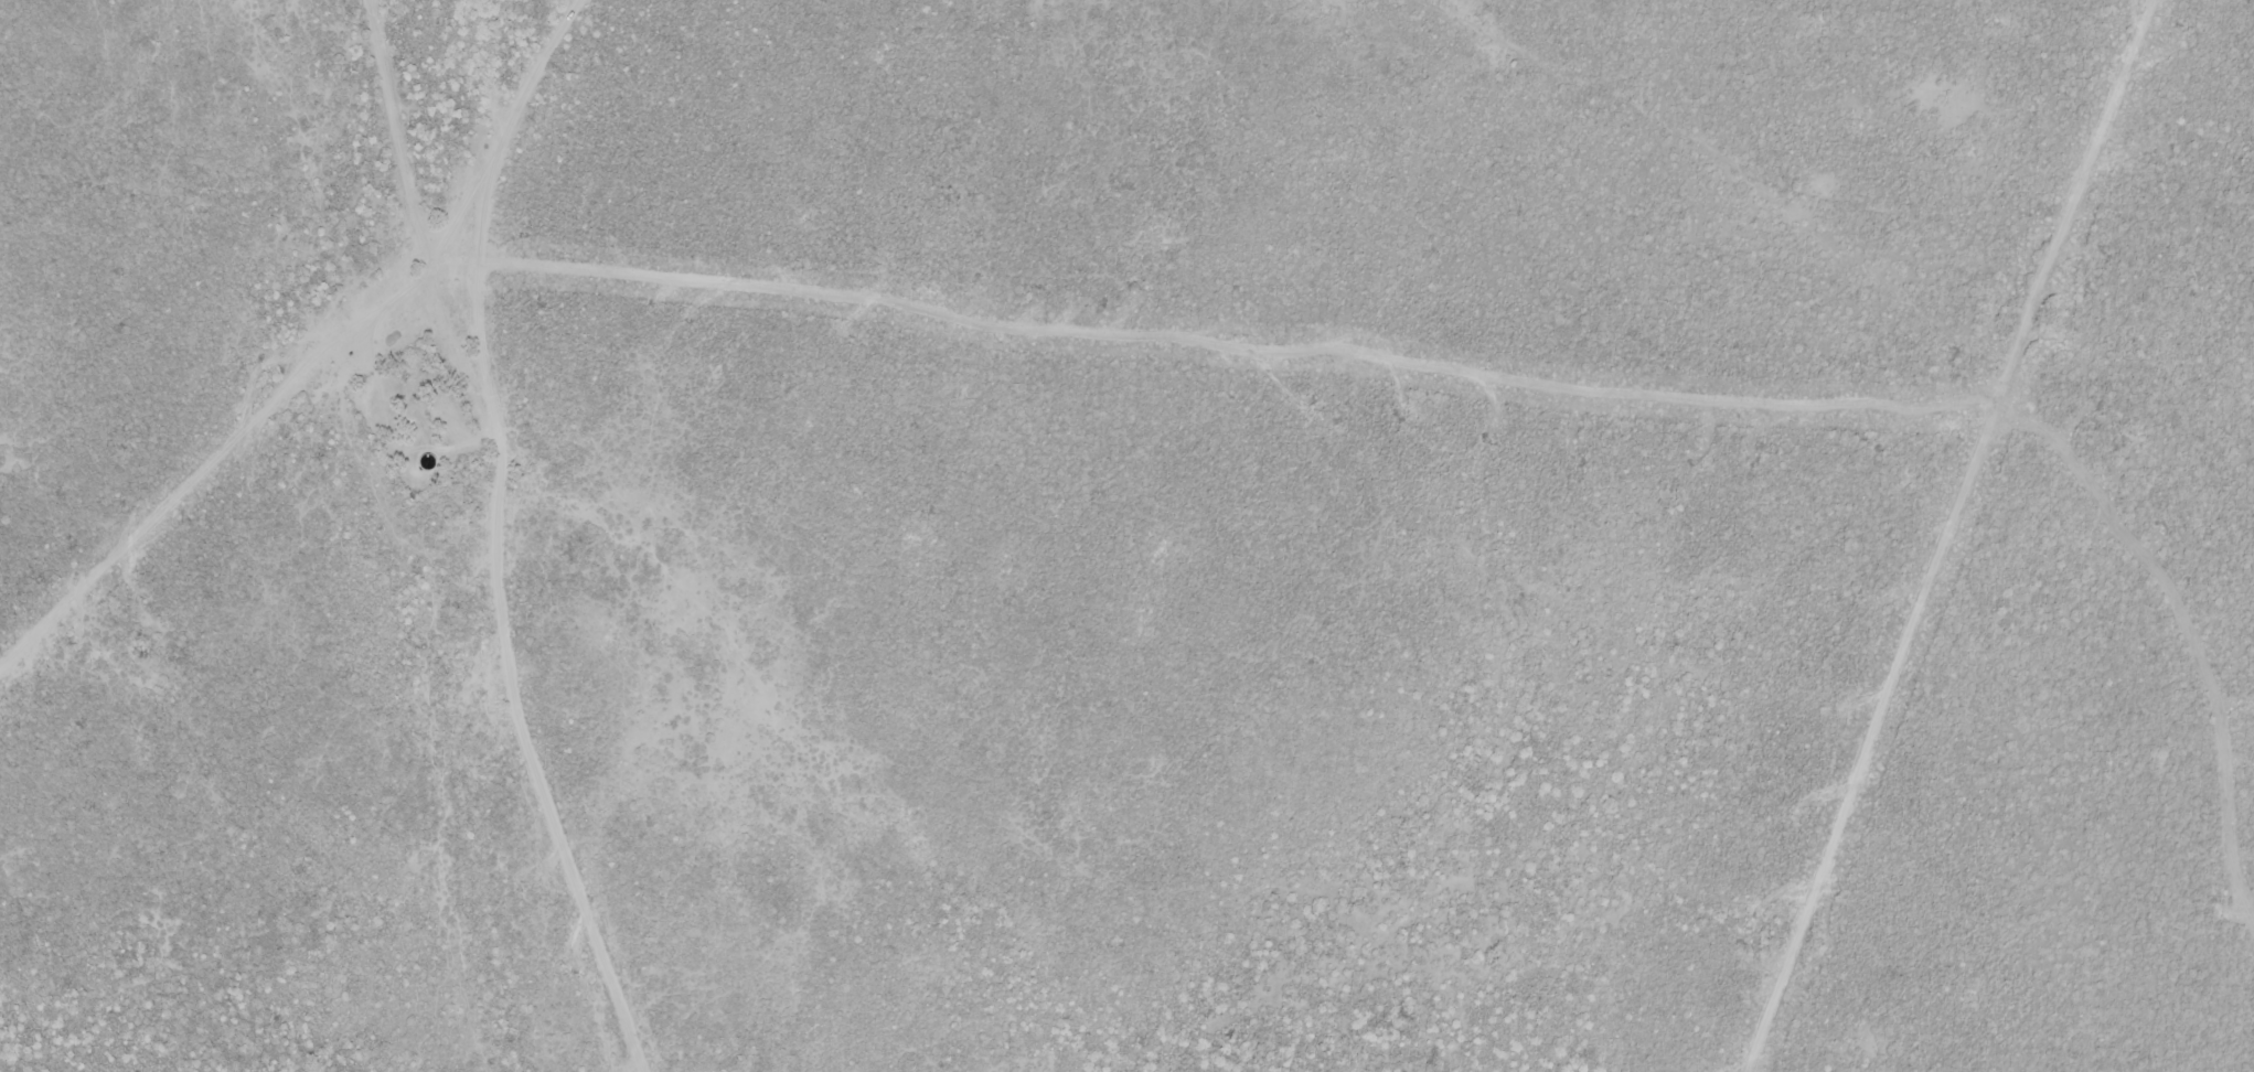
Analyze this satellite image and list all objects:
road: (551, 44)
road: (2134, 45)
road: (1920, 577)
road: (511, 594)

